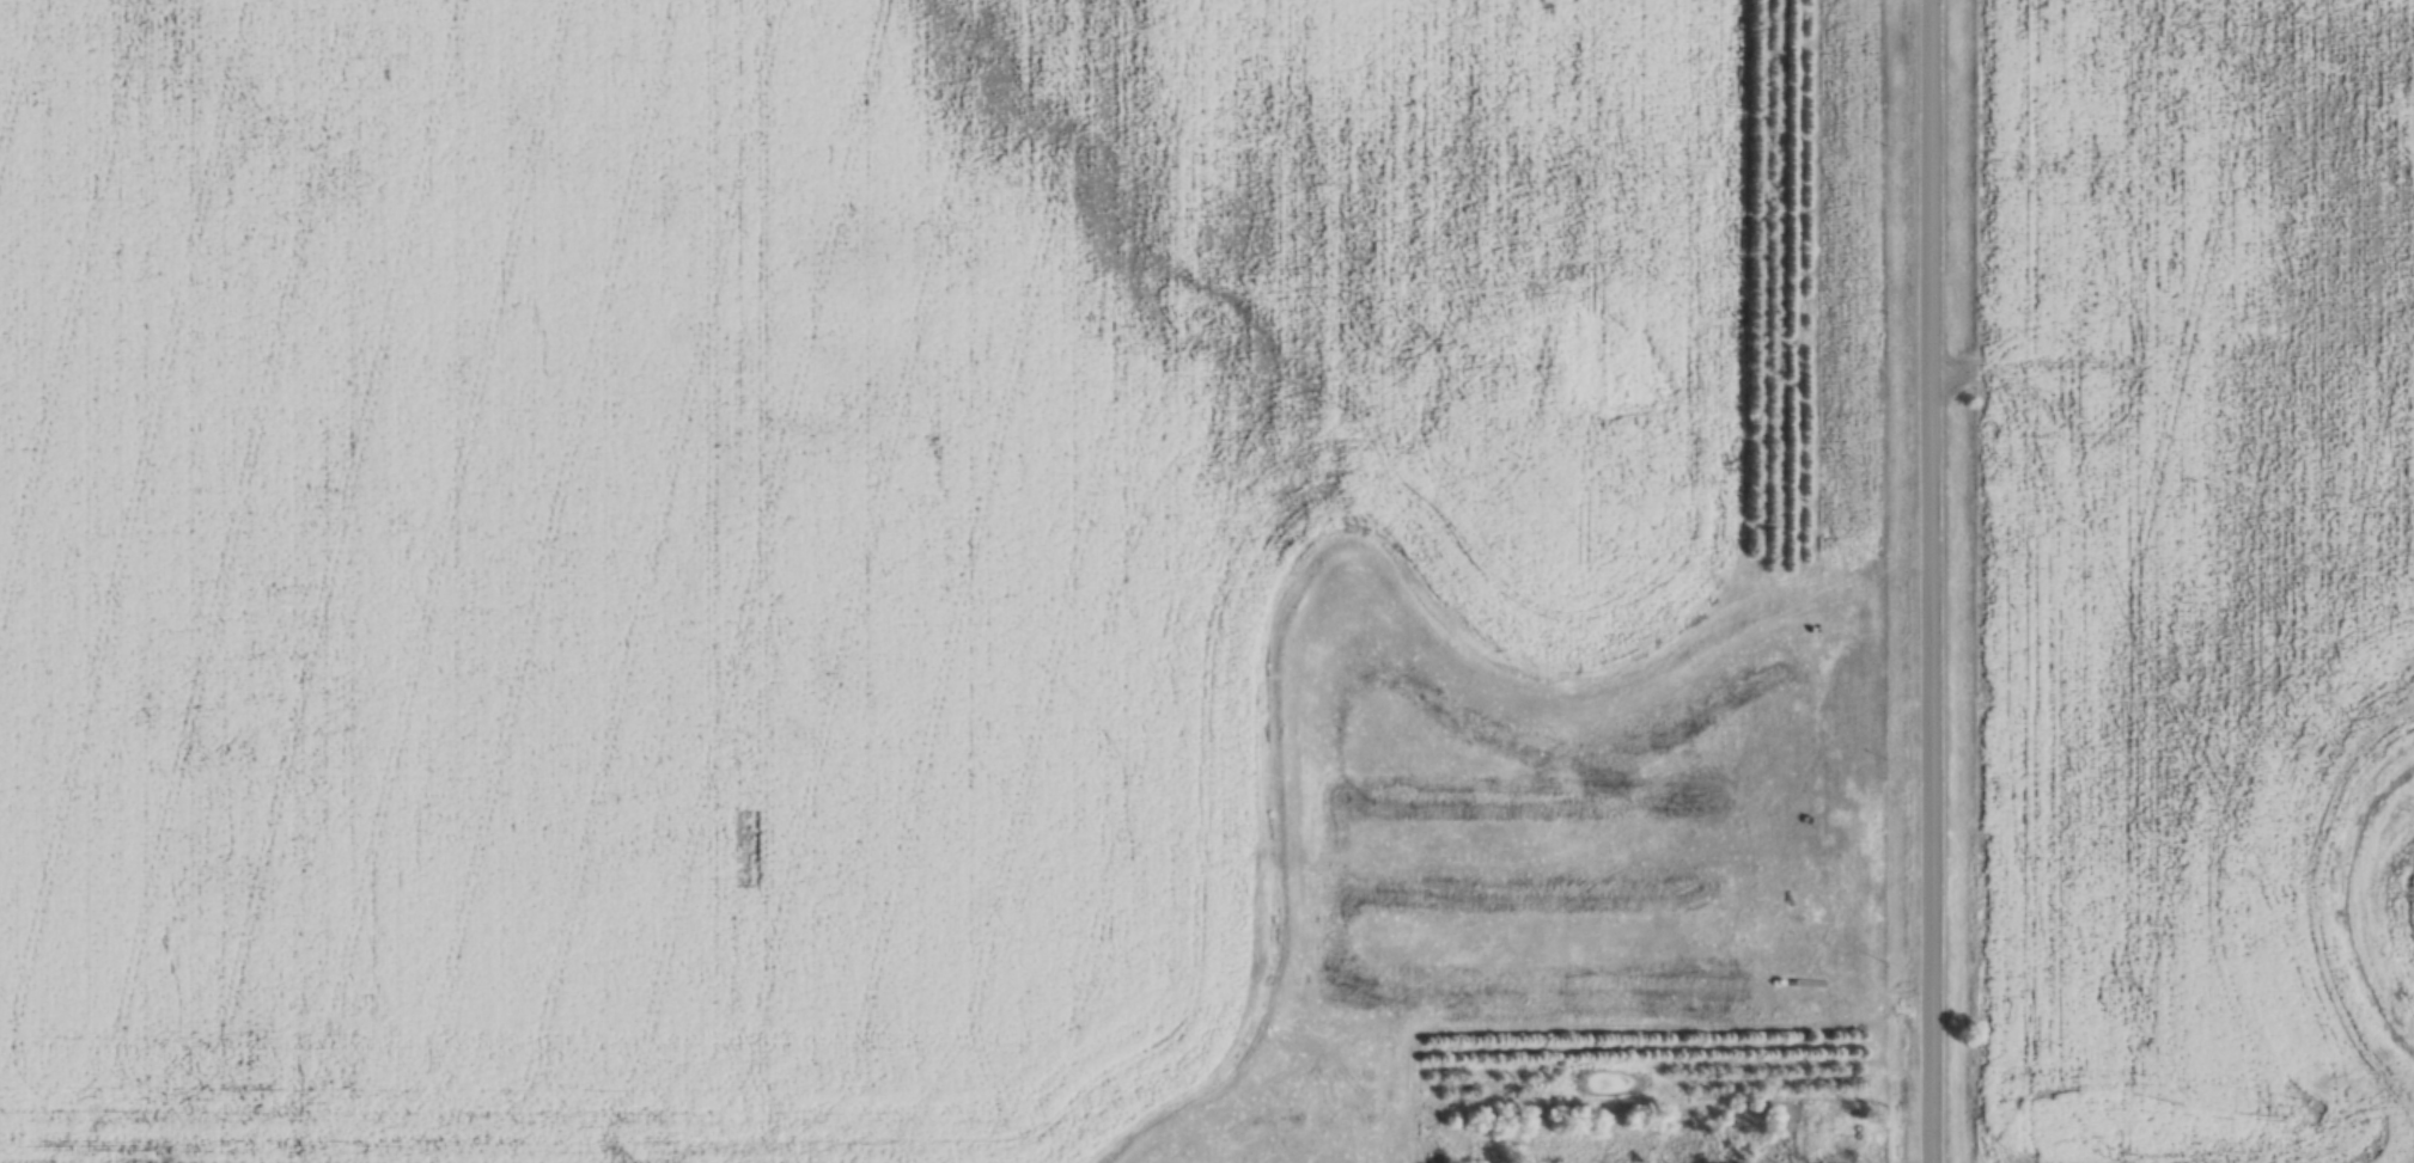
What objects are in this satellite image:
road: (1928, 581)

